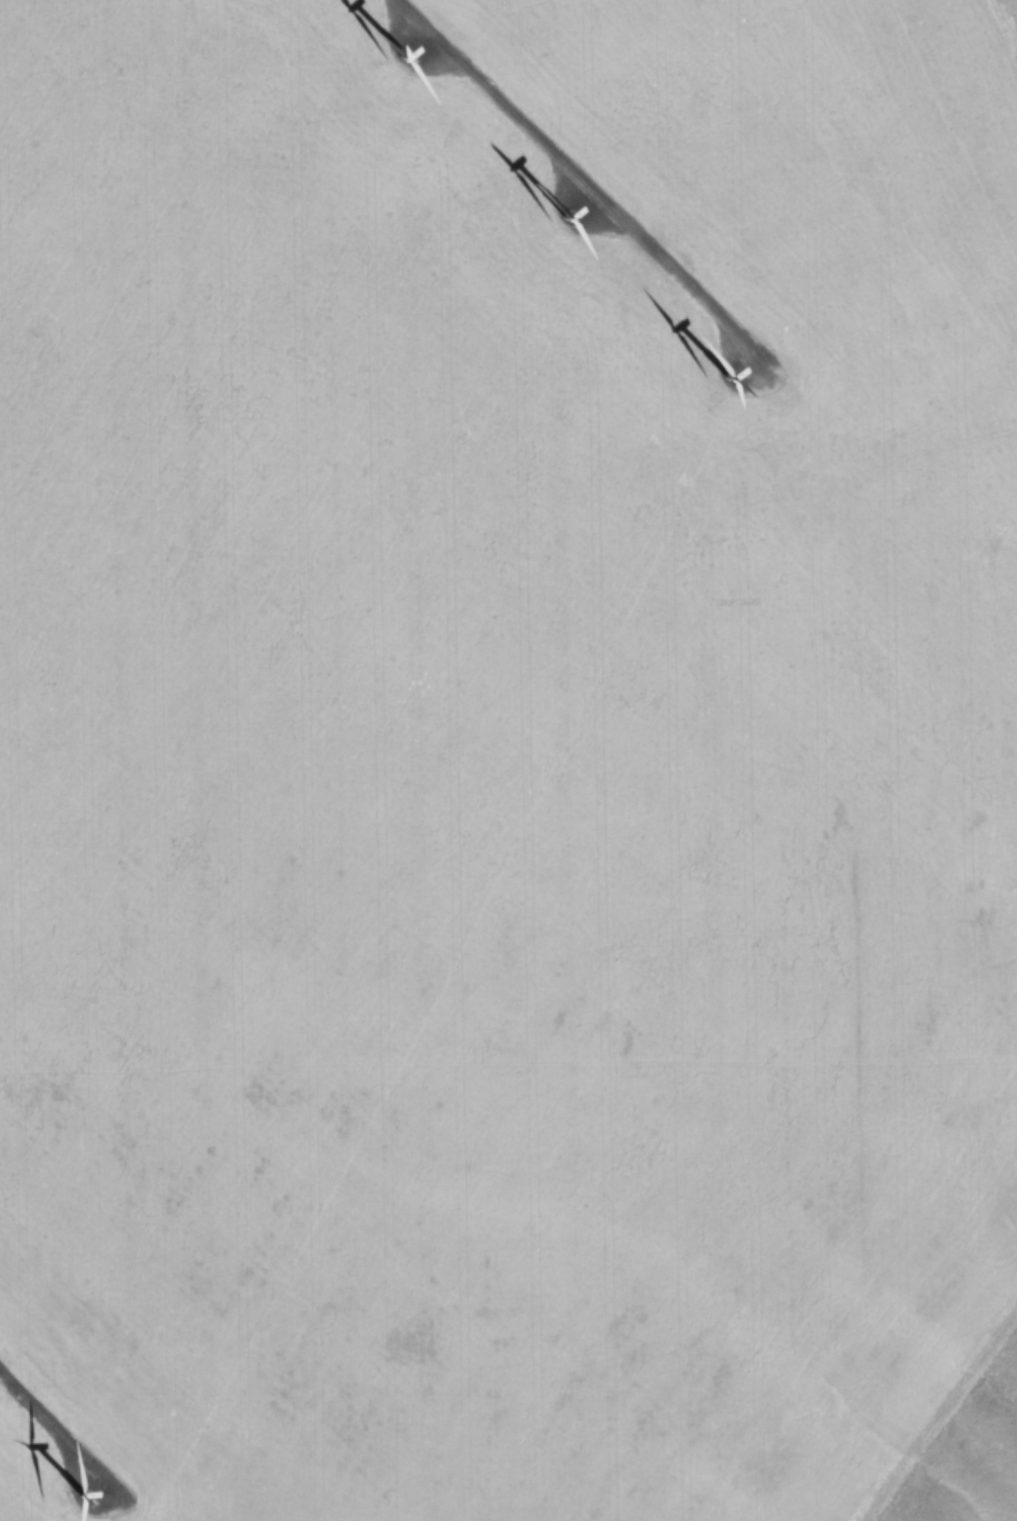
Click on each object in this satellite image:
wind turbine: (410, 48)
road: (582, 176)
wind turbine: (576, 210)
wind turbine: (746, 360)
road: (56, 1428)
wind turbine: (96, 1496)

